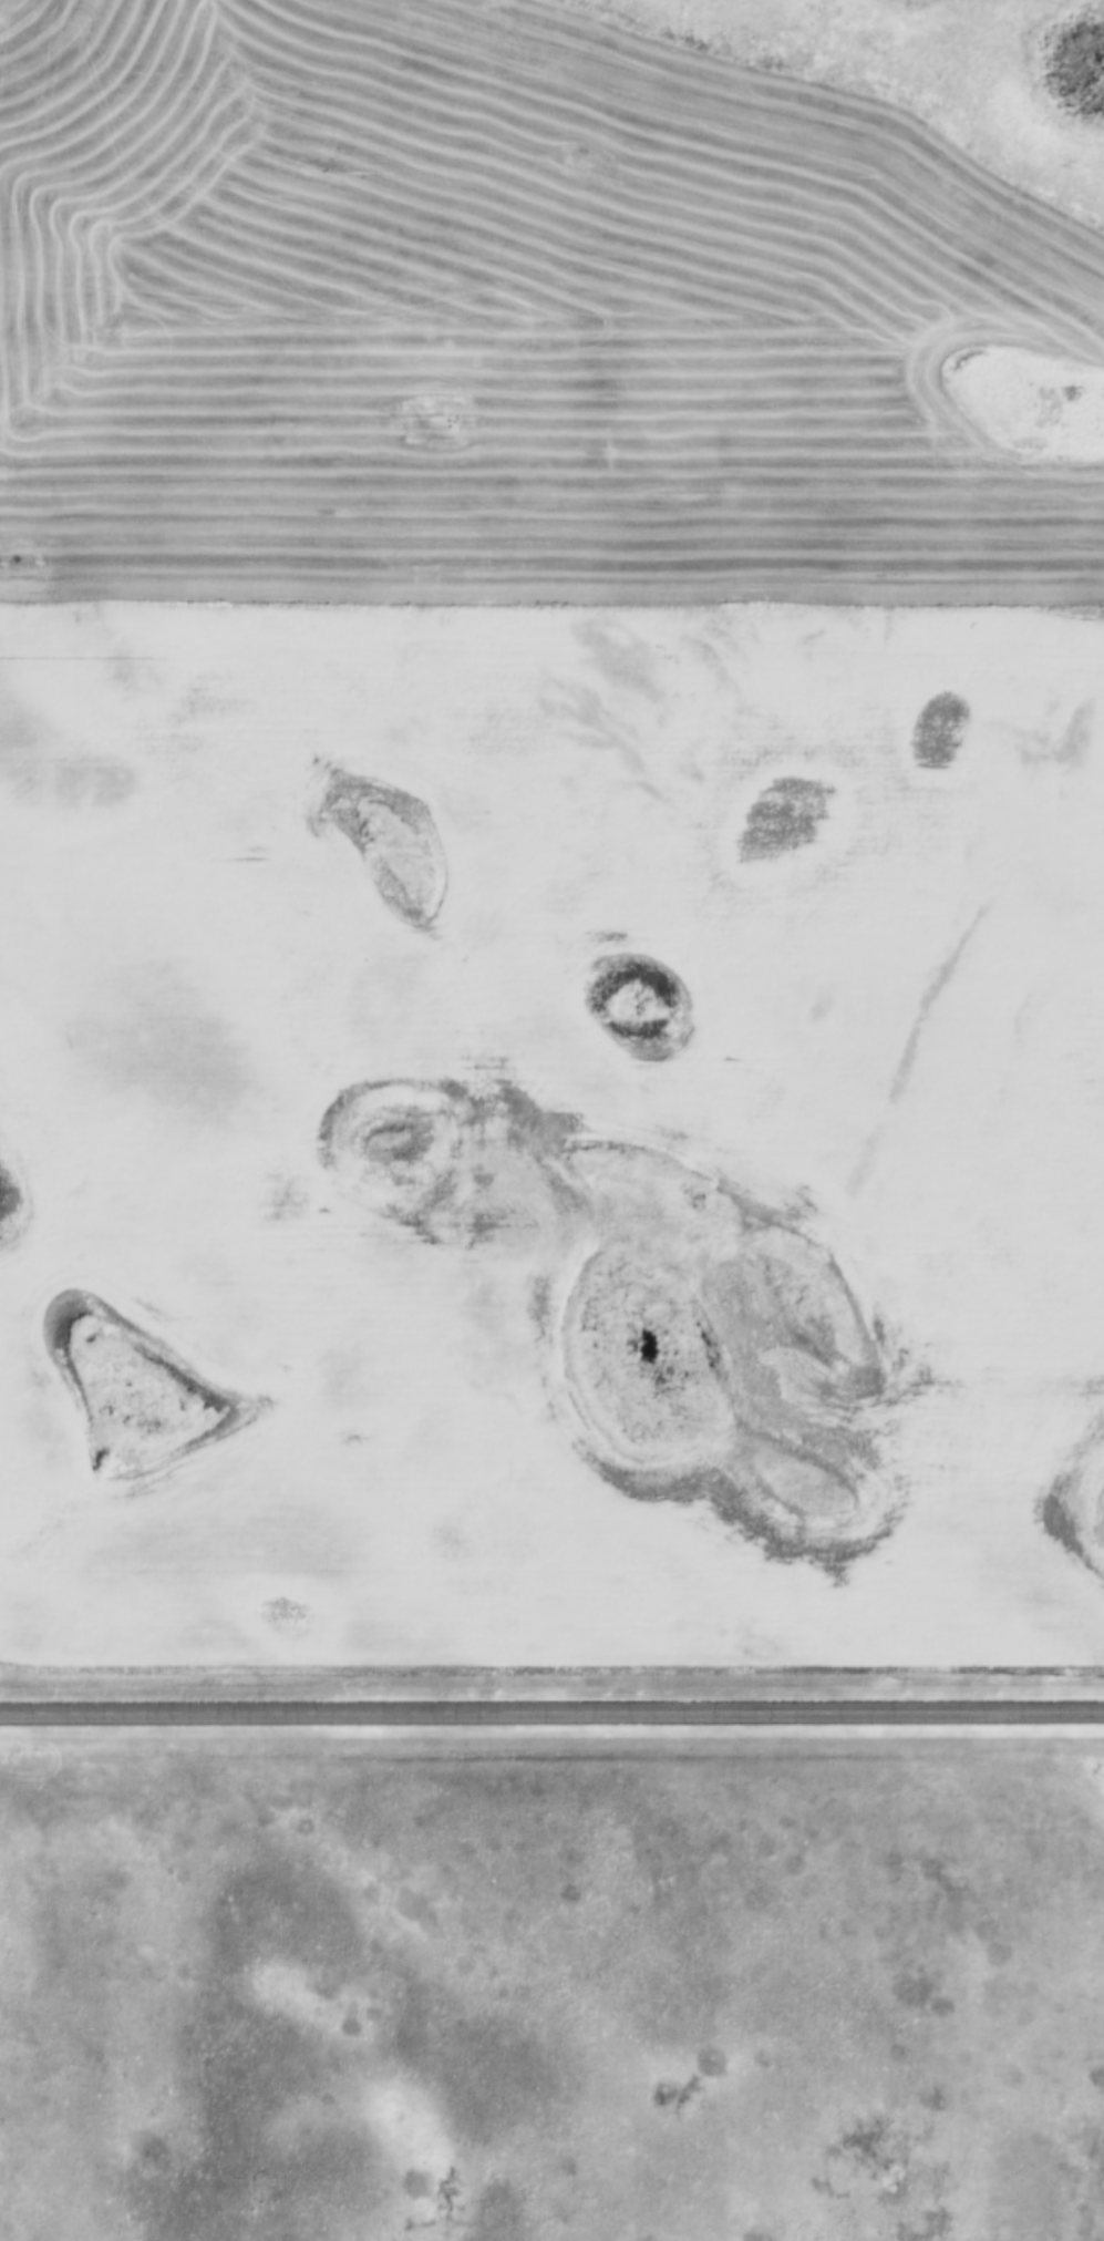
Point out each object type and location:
road: (551, 1713)

